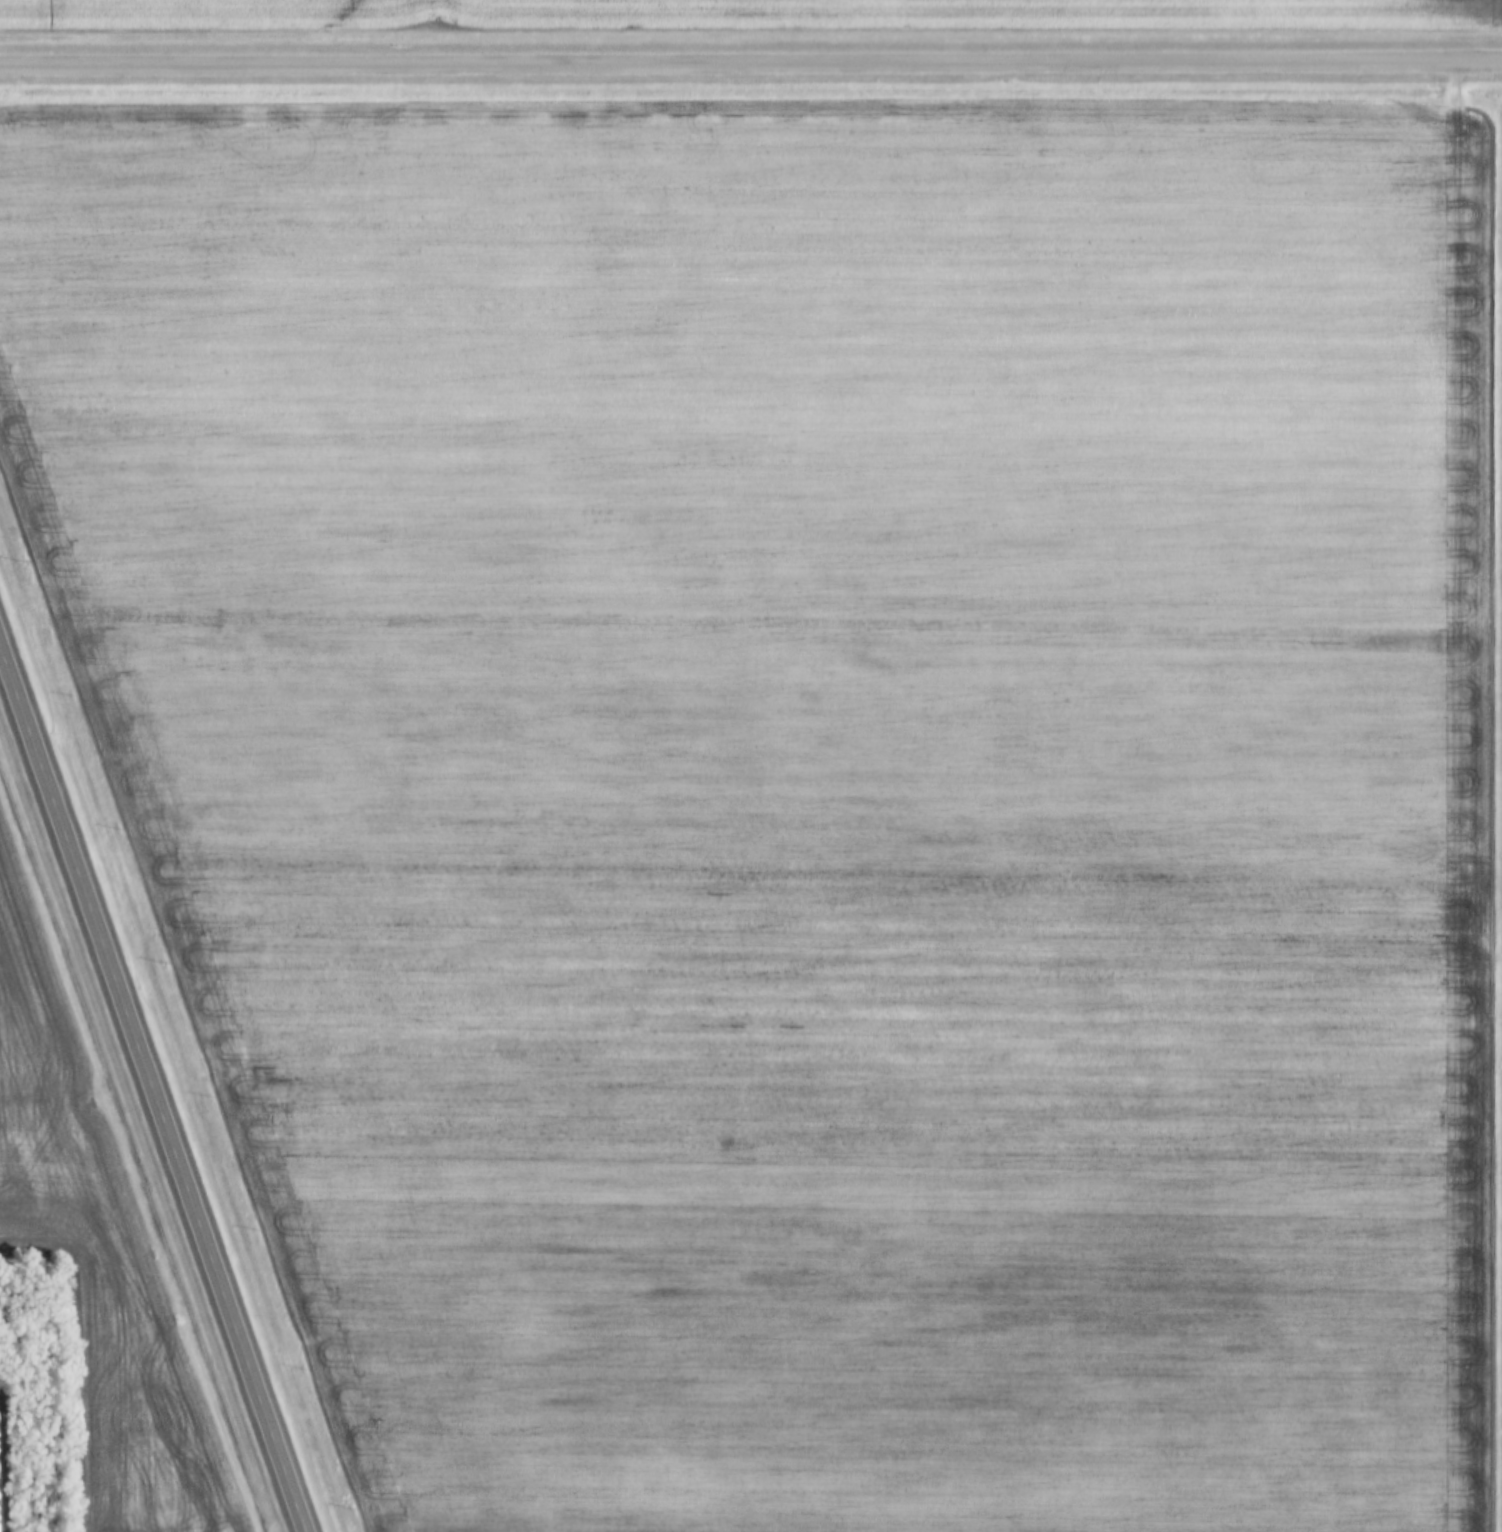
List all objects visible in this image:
road: (751, 62)
road: (151, 1092)

